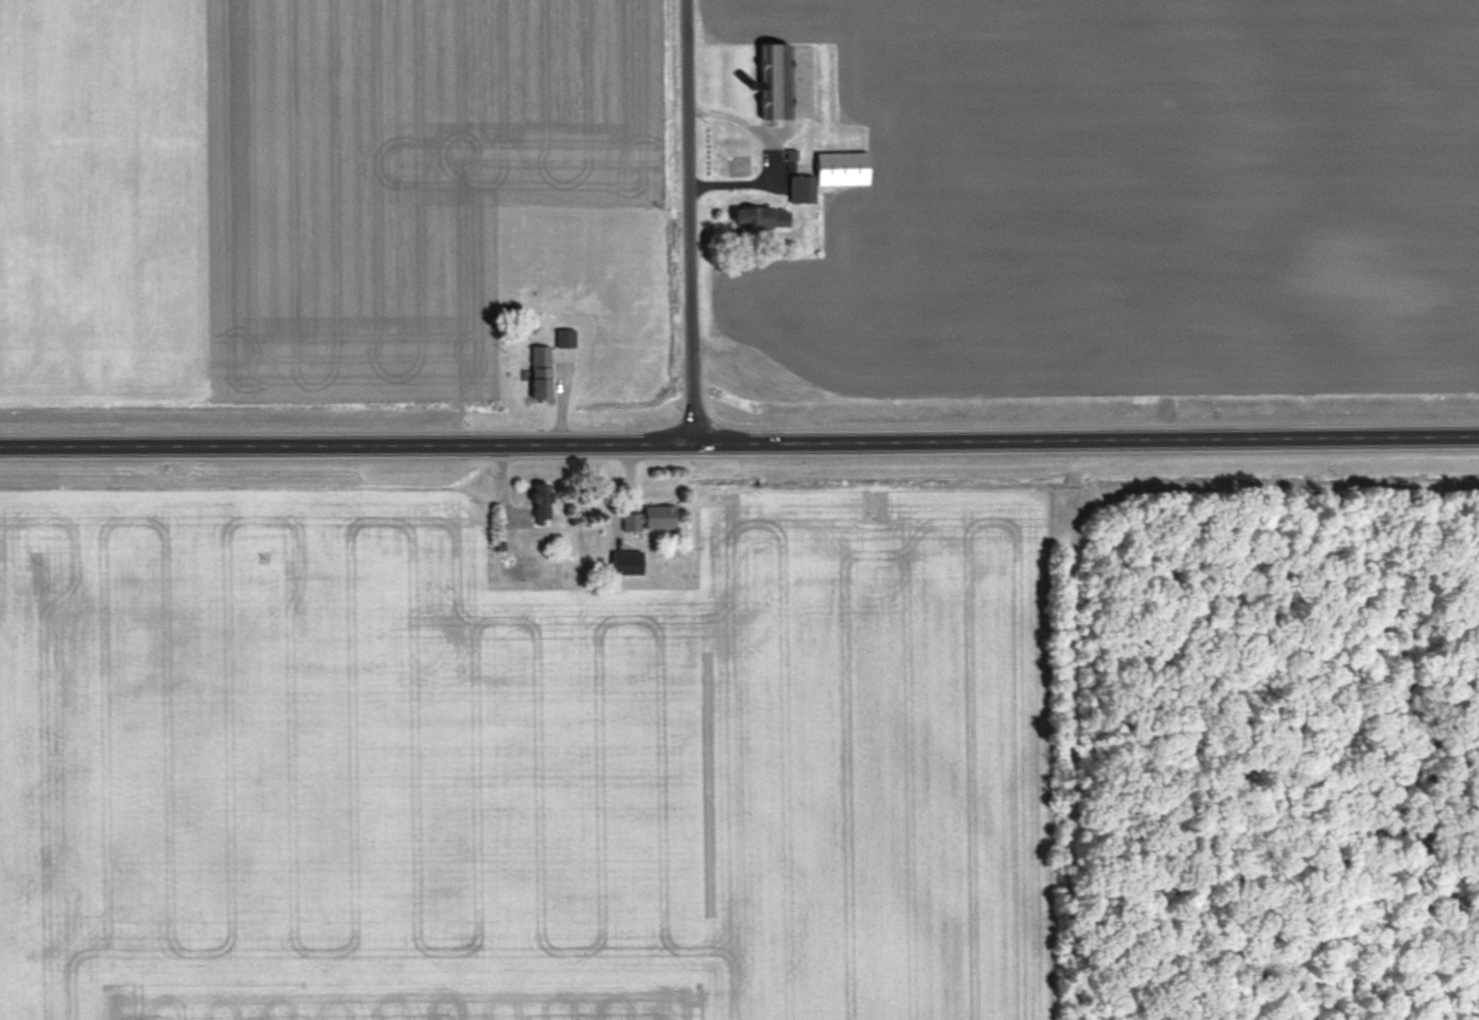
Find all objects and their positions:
building: (777, 81)
building: (715, 140)
road: (770, 155)
building: (832, 174)
building: (761, 218)
road: (689, 223)
building: (541, 373)
road: (1089, 442)
road: (349, 449)
building: (542, 502)
building: (650, 518)
building: (626, 562)

